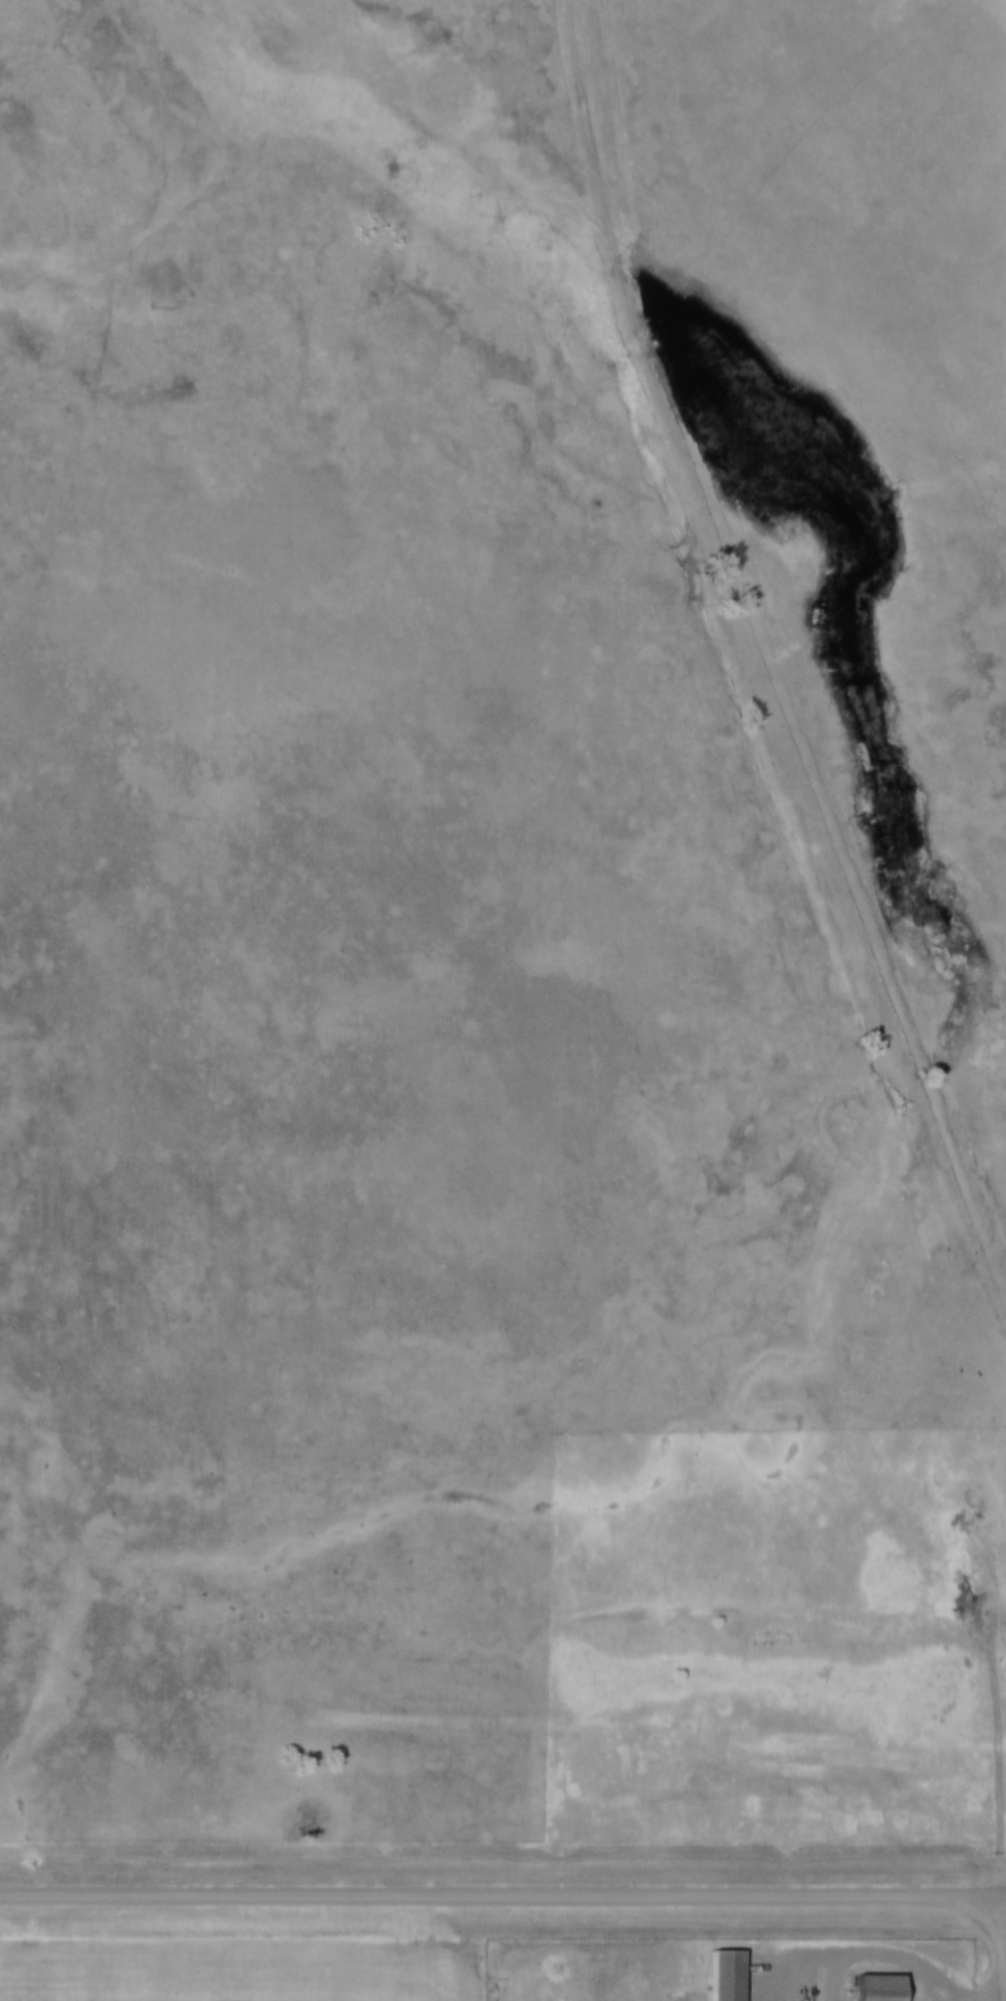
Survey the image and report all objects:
road: (221, 1893)
road: (724, 1893)
road: (793, 1930)
road: (499, 1946)
building: (726, 1974)
building: (881, 1986)

